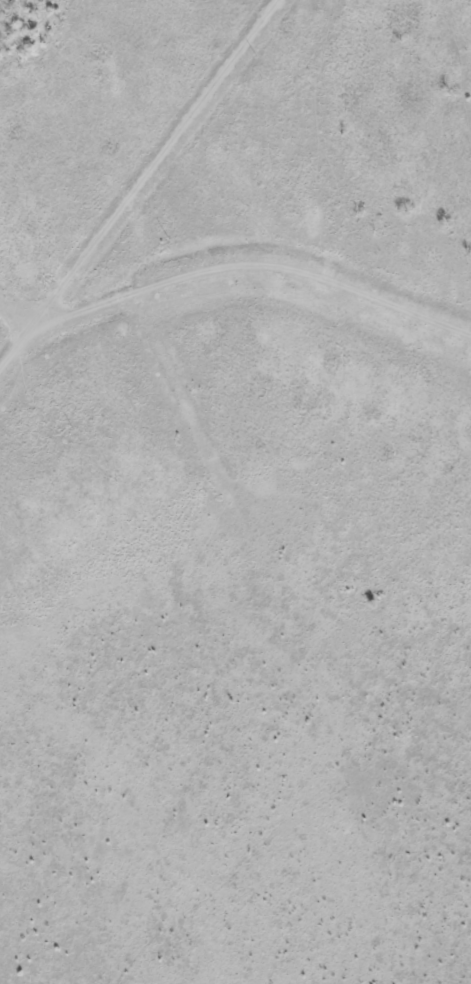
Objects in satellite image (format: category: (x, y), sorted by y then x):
road: (139, 182)
road: (247, 264)

